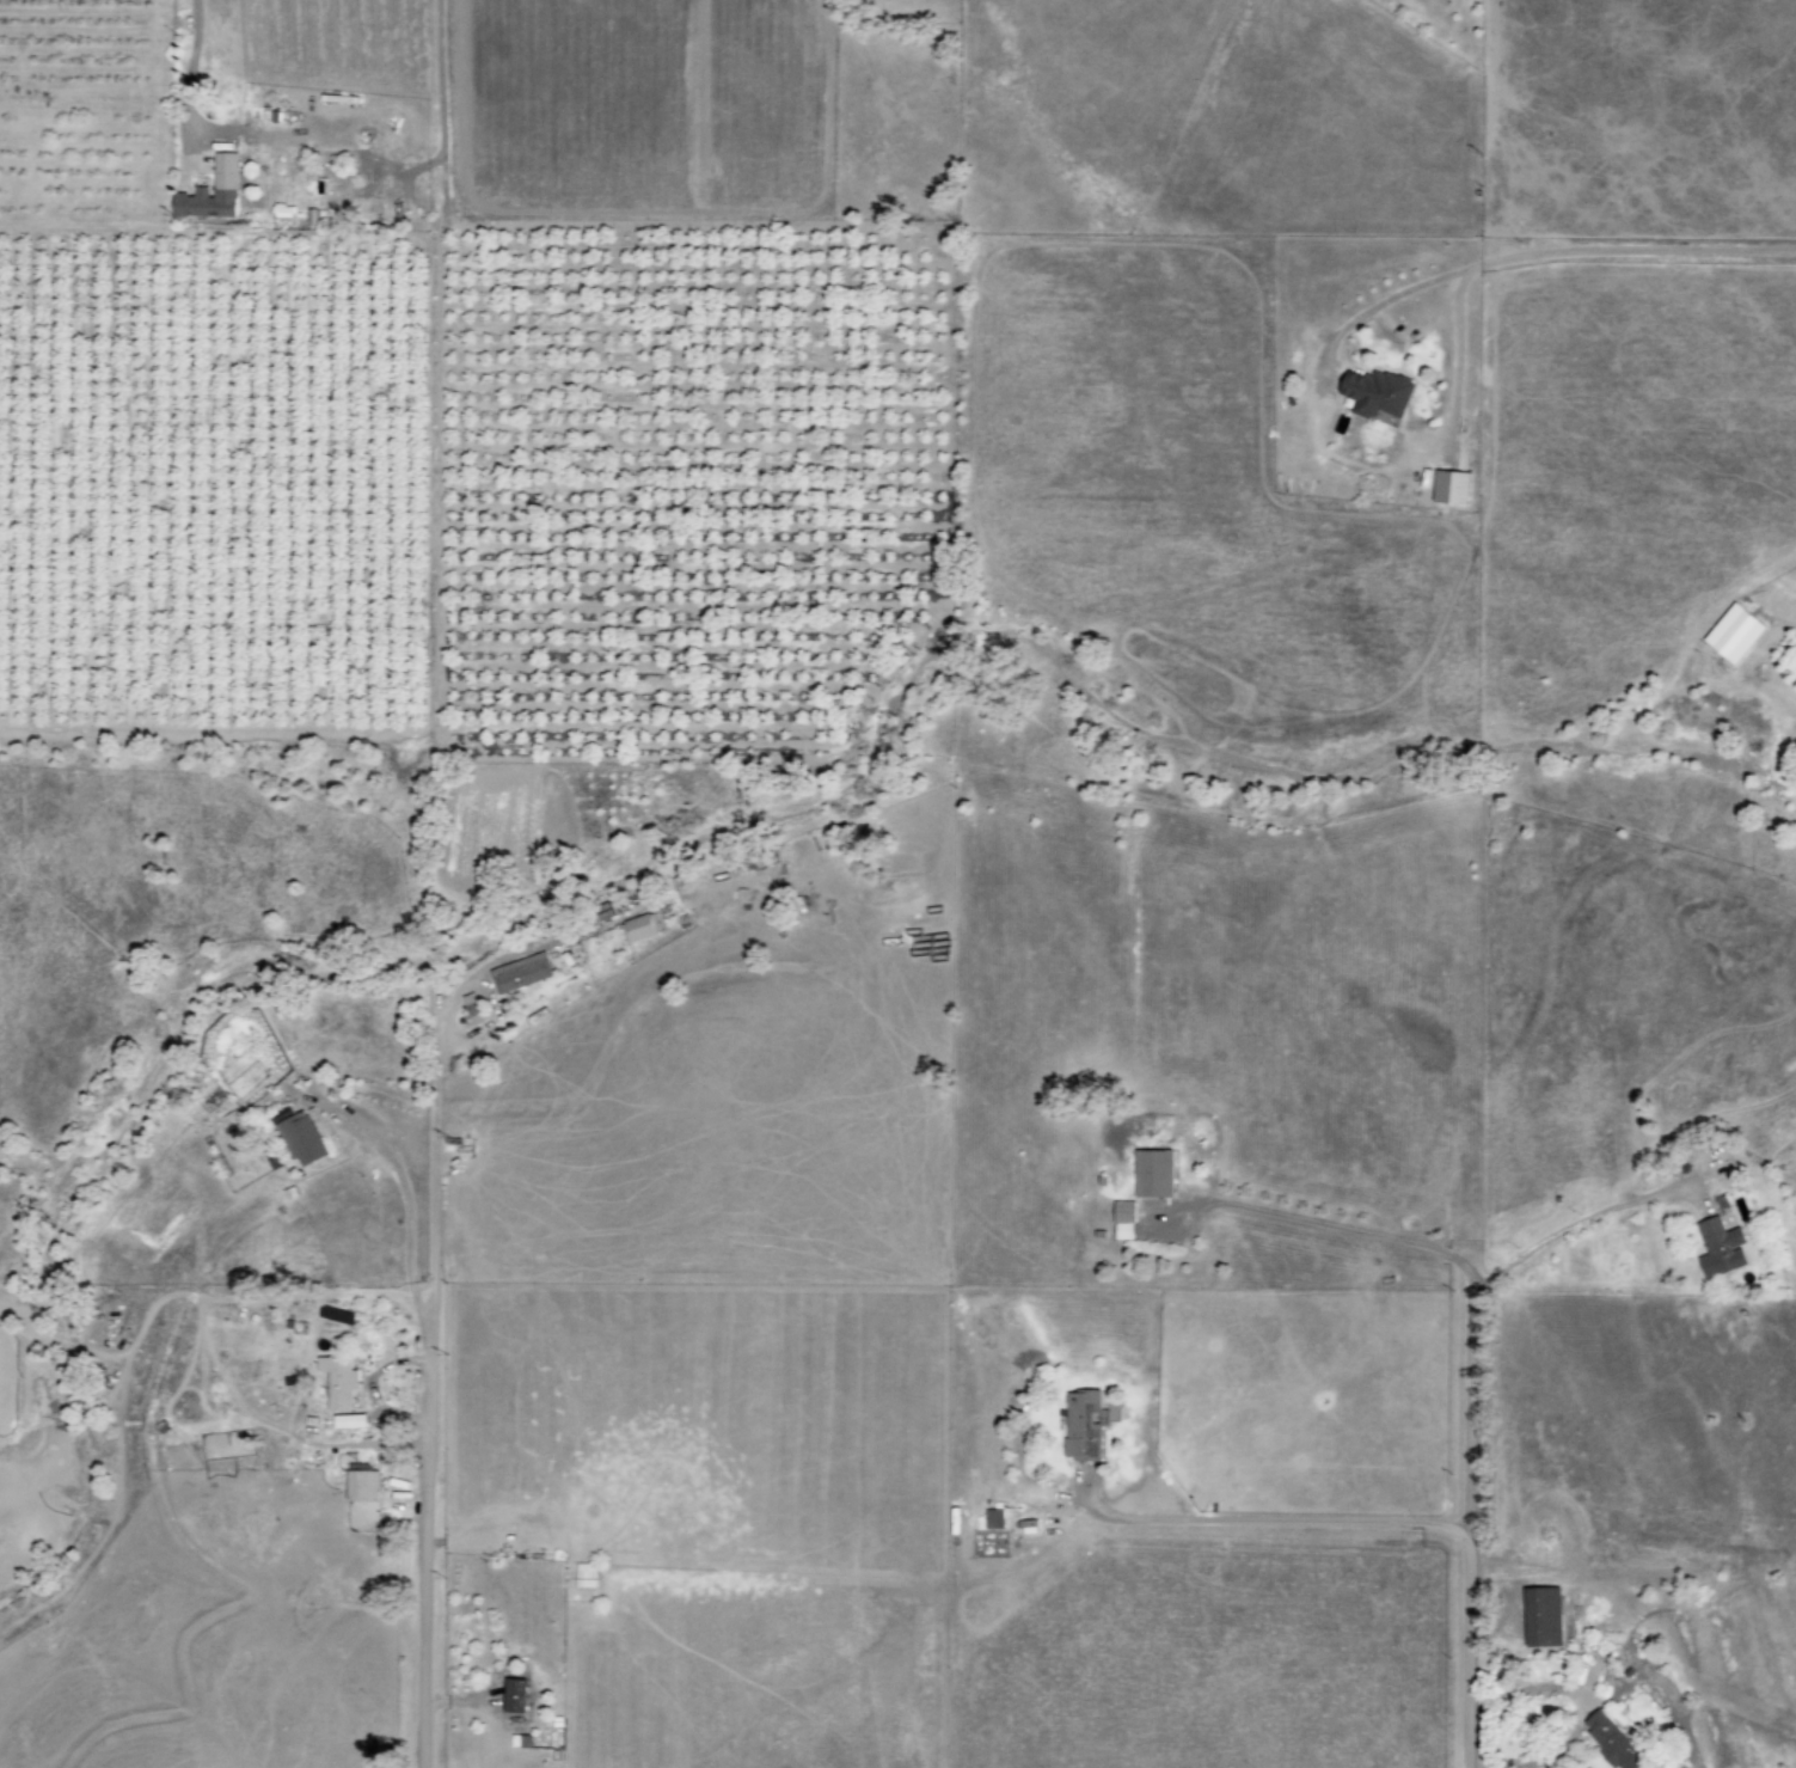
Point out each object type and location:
road: (188, 69)
building: (213, 191)
road: (1539, 255)
building: (1378, 393)
building: (1449, 488)
building: (1727, 632)
building: (1795, 643)
building: (639, 928)
building: (519, 973)
building: (471, 1009)
building: (301, 1138)
building: (1146, 1173)
road: (405, 1204)
building: (1118, 1218)
road: (1582, 1218)
road: (1347, 1229)
building: (1714, 1247)
building: (337, 1381)
building: (1078, 1424)
road: (427, 1438)
building: (362, 1482)
building: (988, 1518)
road: (1271, 1518)
road: (1467, 1529)
building: (1536, 1617)
building: (515, 1695)
road: (1573, 1701)
building: (520, 1741)
building: (1605, 1741)

